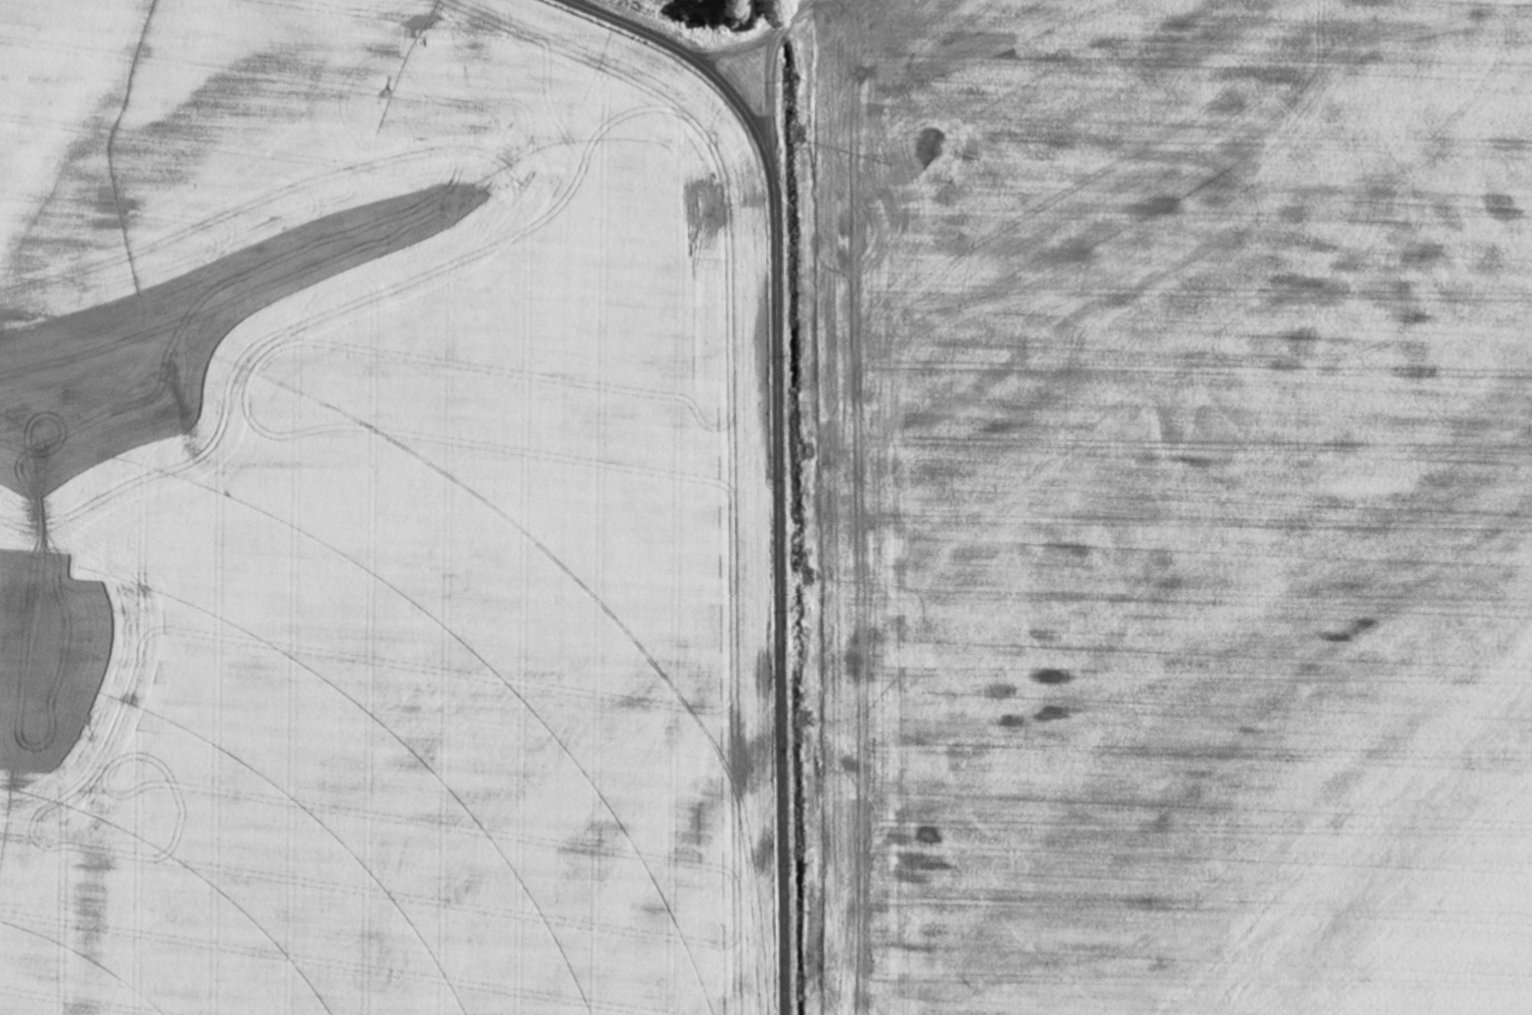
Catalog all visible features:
road: (742, 49)
road: (773, 83)
road: (779, 455)

